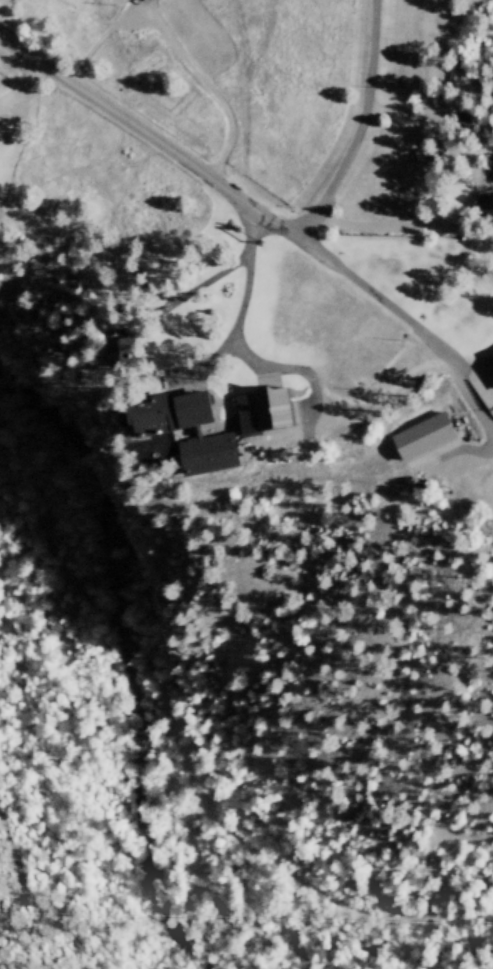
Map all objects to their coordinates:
building: (158, 2)
road: (205, 90)
road: (29, 96)
road: (360, 129)
road: (148, 144)
building: (430, 162)
building: (492, 166)
road: (470, 209)
building: (486, 213)
road: (188, 292)
road: (371, 297)
road: (238, 318)
building: (109, 357)
building: (492, 359)
road: (314, 387)
road: (467, 396)
road: (378, 401)
building: (260, 414)
building: (217, 435)
building: (429, 441)

